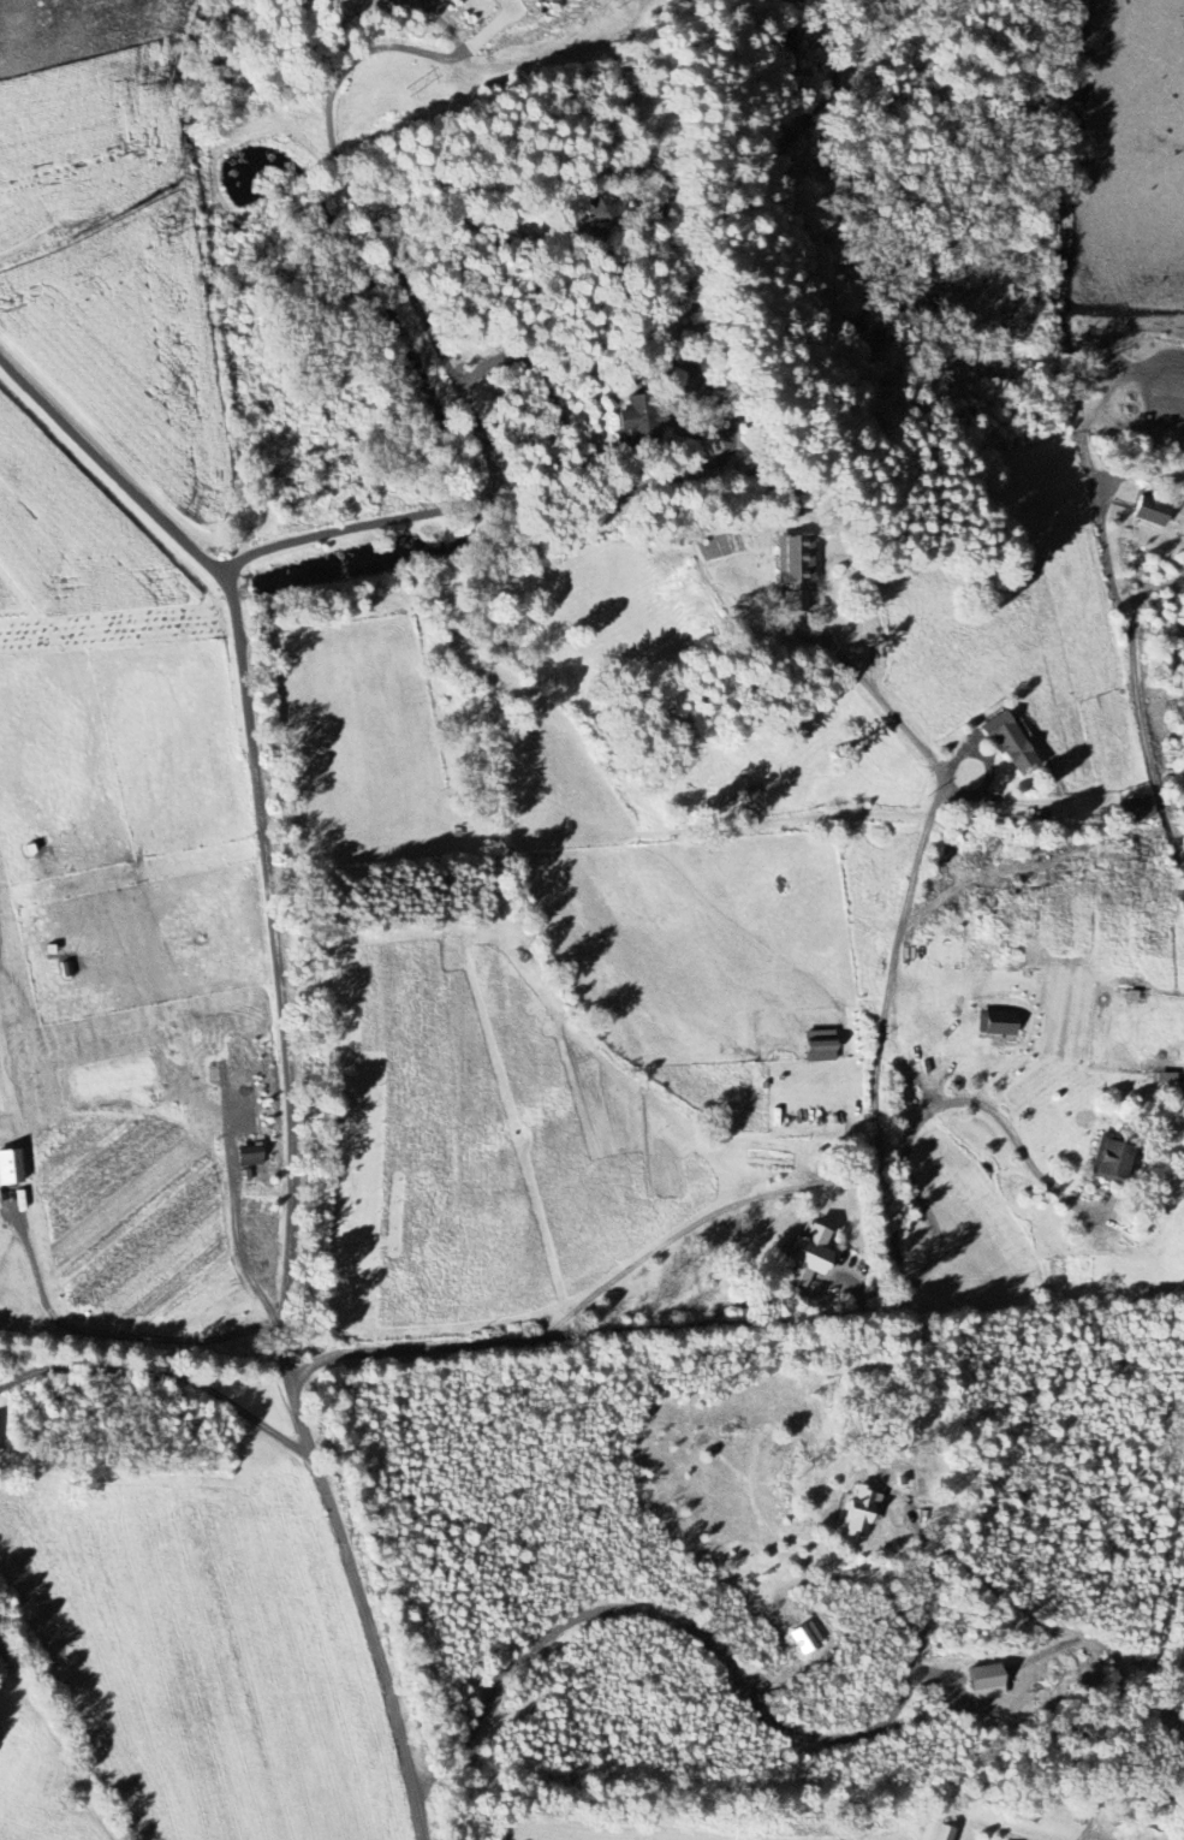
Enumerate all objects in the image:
building: (362, 0)
road: (417, 54)
road: (805, 81)
road: (665, 238)
building: (639, 419)
road: (115, 467)
building: (1153, 511)
building: (787, 559)
road: (1137, 688)
building: (1010, 741)
road: (921, 747)
road: (257, 807)
building: (1138, 811)
building: (998, 1023)
road: (929, 1111)
building: (251, 1157)
building: (1113, 1159)
building: (11, 1169)
road: (684, 1230)
road: (238, 1246)
building: (809, 1257)
road: (685, 1326)
road: (117, 1335)
road: (162, 1376)
building: (862, 1513)
building: (807, 1639)
road: (721, 1661)
building: (987, 1682)
park: (1153, 1729)
building: (941, 1833)

